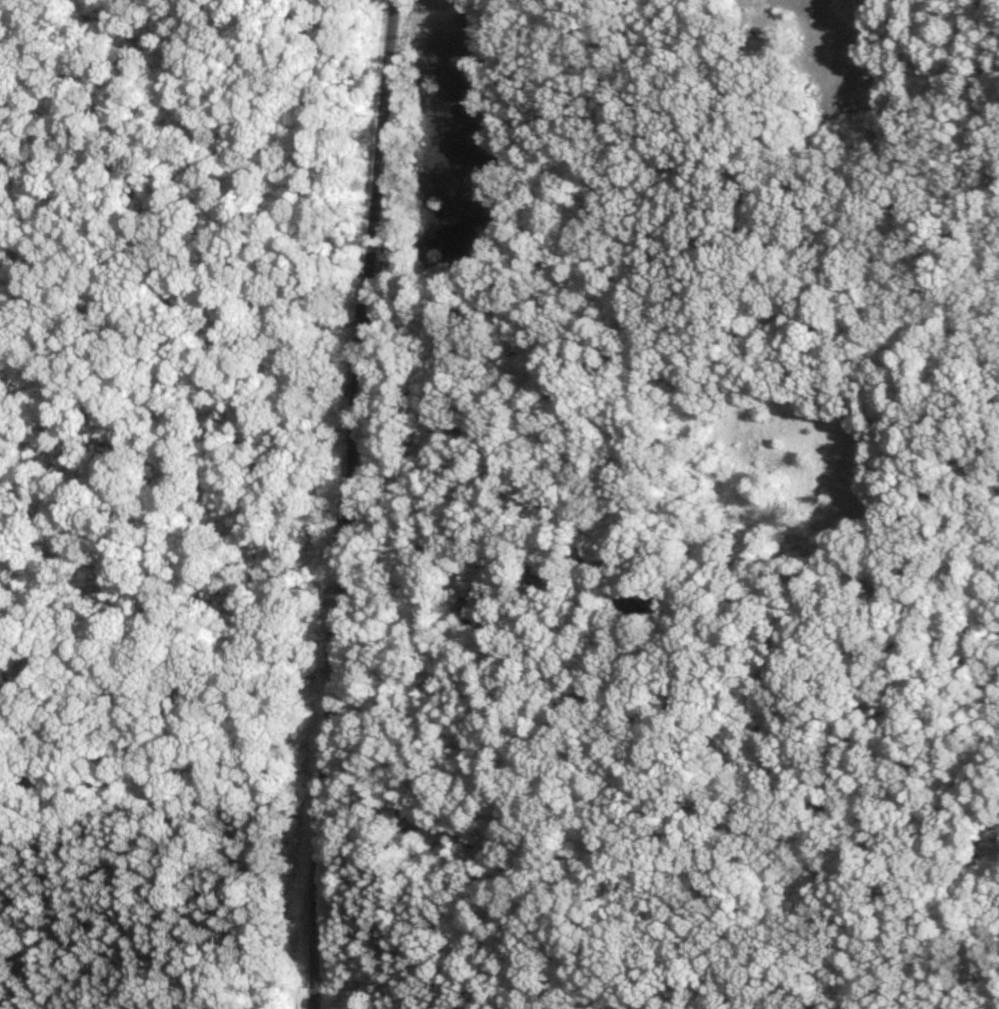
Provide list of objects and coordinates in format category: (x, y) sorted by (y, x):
road: (346, 504)

